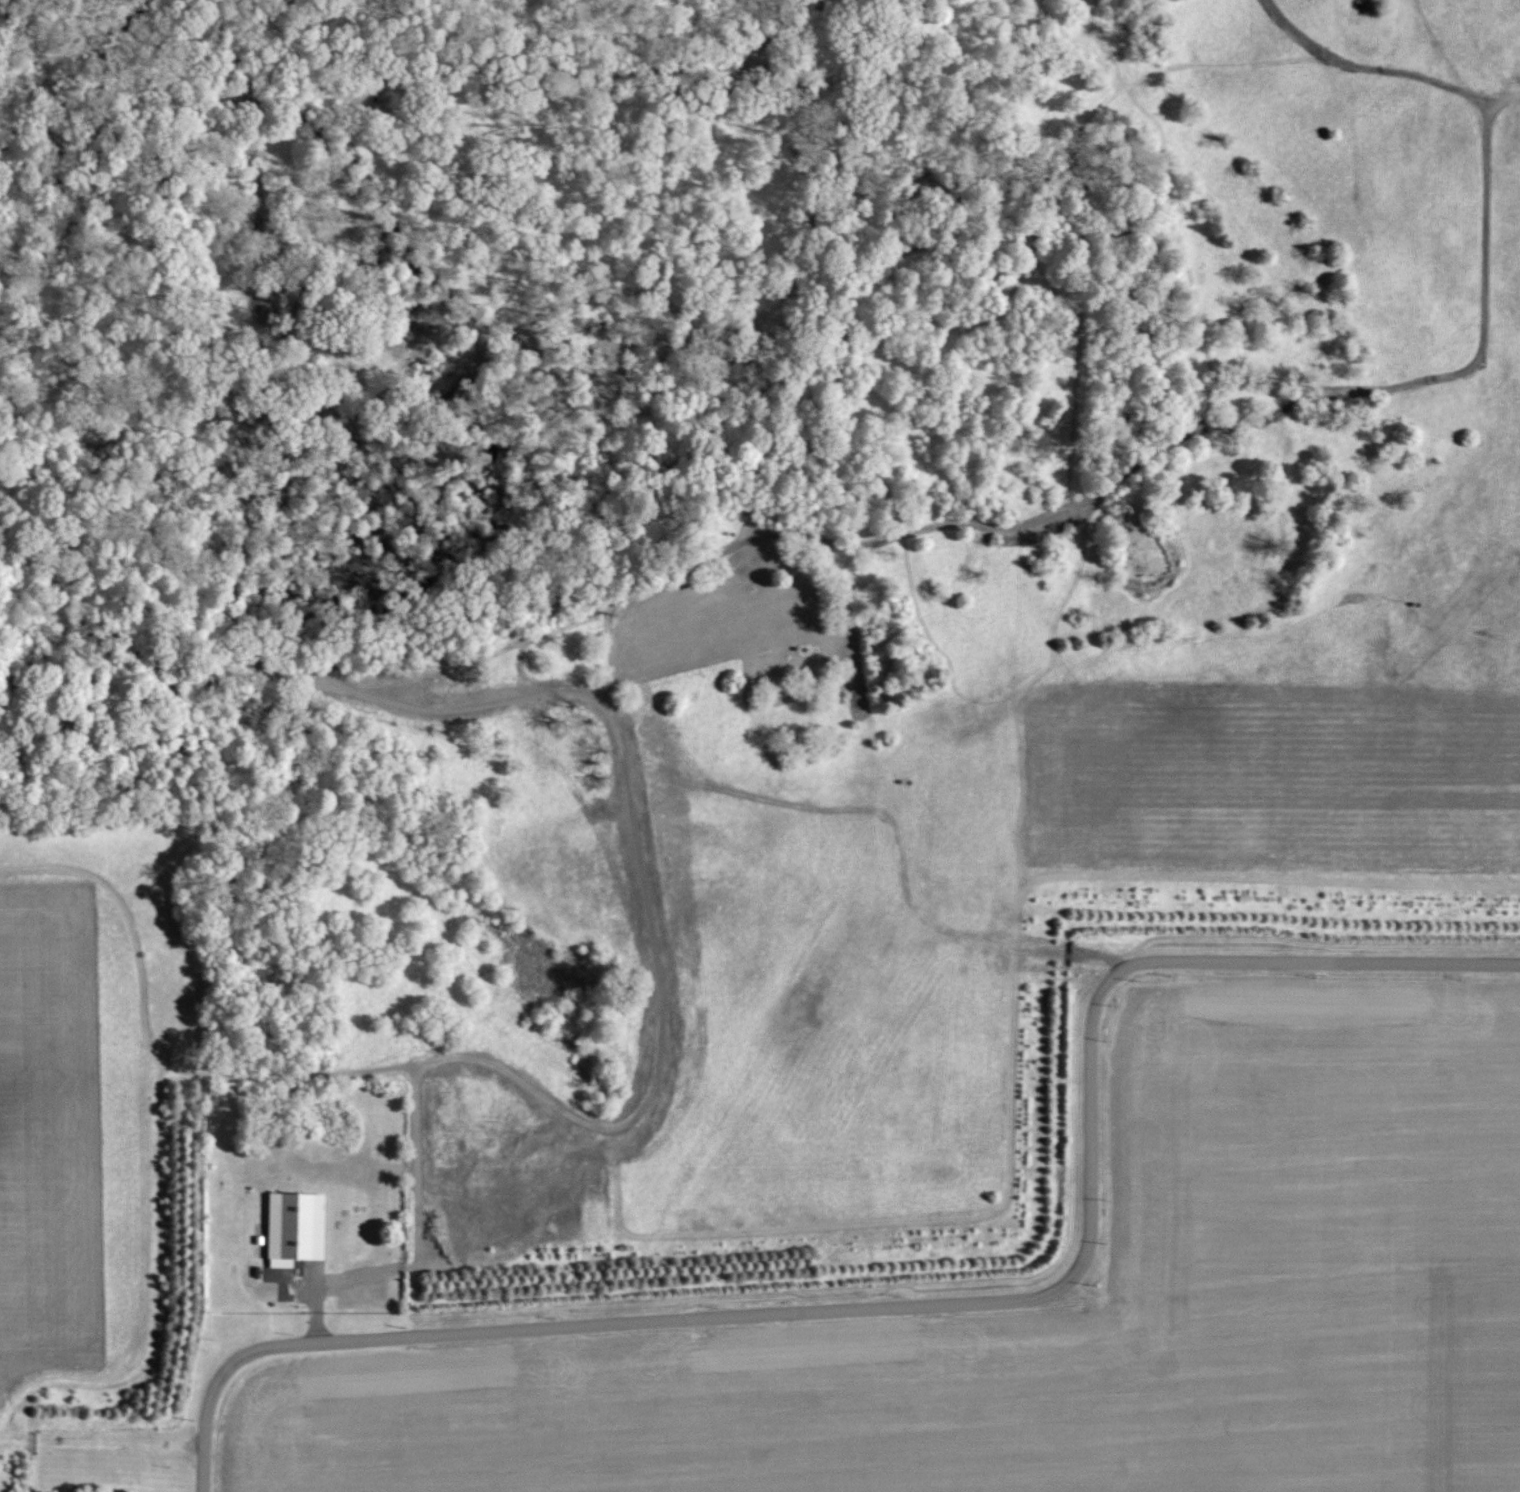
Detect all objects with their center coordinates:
road: (610, 669)
building: (291, 1227)
road: (956, 1312)

